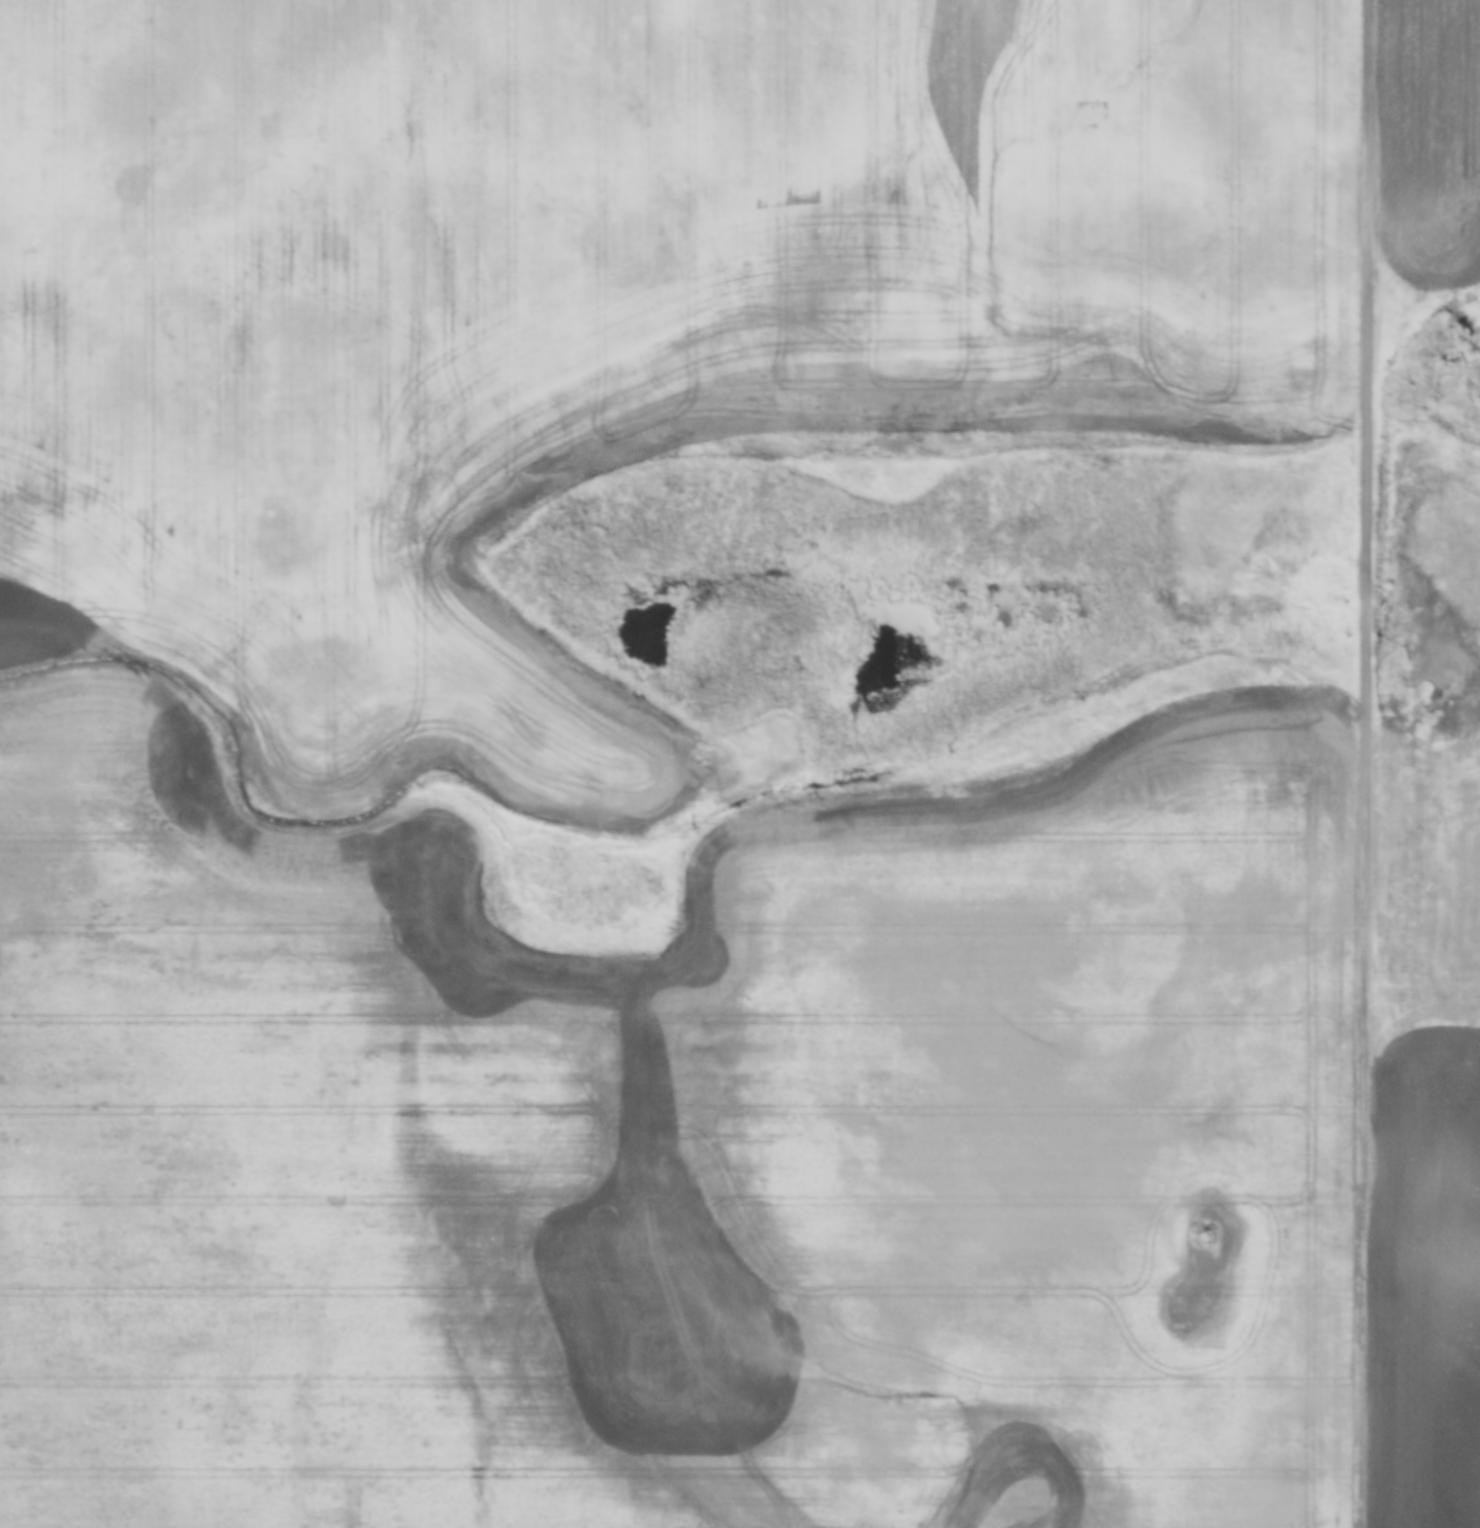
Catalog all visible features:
road: (1367, 764)

